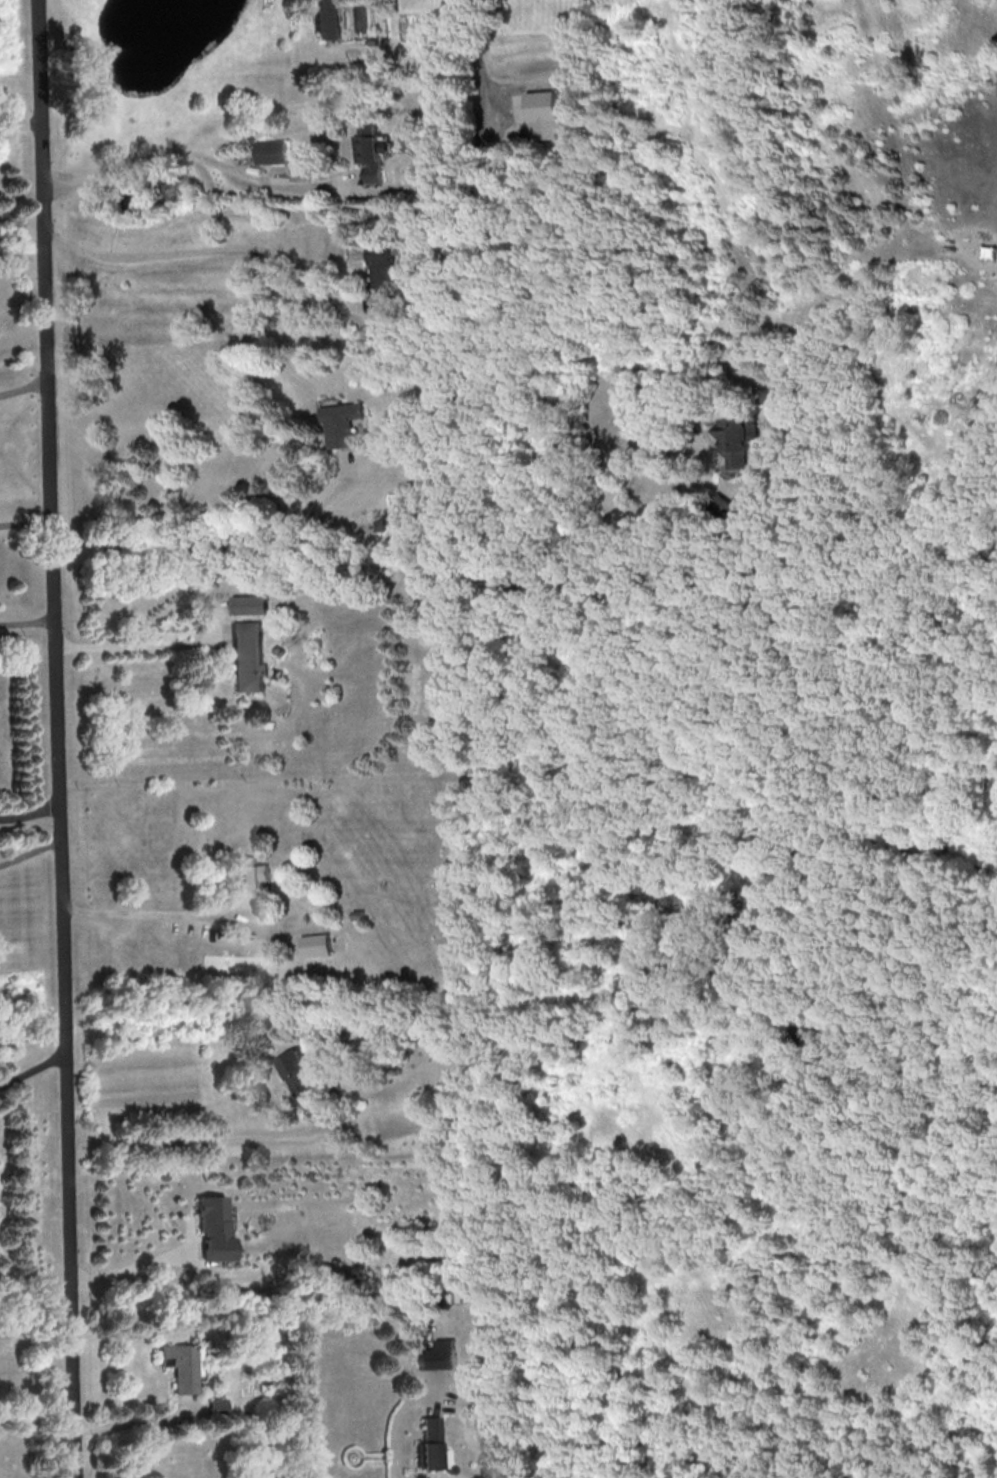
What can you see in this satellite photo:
building: (327, 19)
building: (541, 114)
road: (19, 125)
building: (271, 151)
building: (370, 151)
road: (199, 156)
road: (217, 247)
building: (380, 274)
road: (479, 292)
road: (23, 393)
building: (769, 393)
building: (341, 423)
building: (737, 438)
road: (212, 527)
road: (683, 574)
building: (248, 604)
road: (139, 643)
building: (247, 656)
road: (56, 739)
road: (29, 814)
road: (30, 850)
building: (250, 876)
road: (153, 917)
building: (315, 944)
road: (33, 1069)
building: (299, 1075)
road: (204, 1135)
building: (213, 1226)
road: (132, 1265)
building: (438, 1354)
building: (183, 1366)
building: (220, 1405)
road: (38, 1414)
road: (137, 1424)
road: (394, 1424)
building: (432, 1445)

